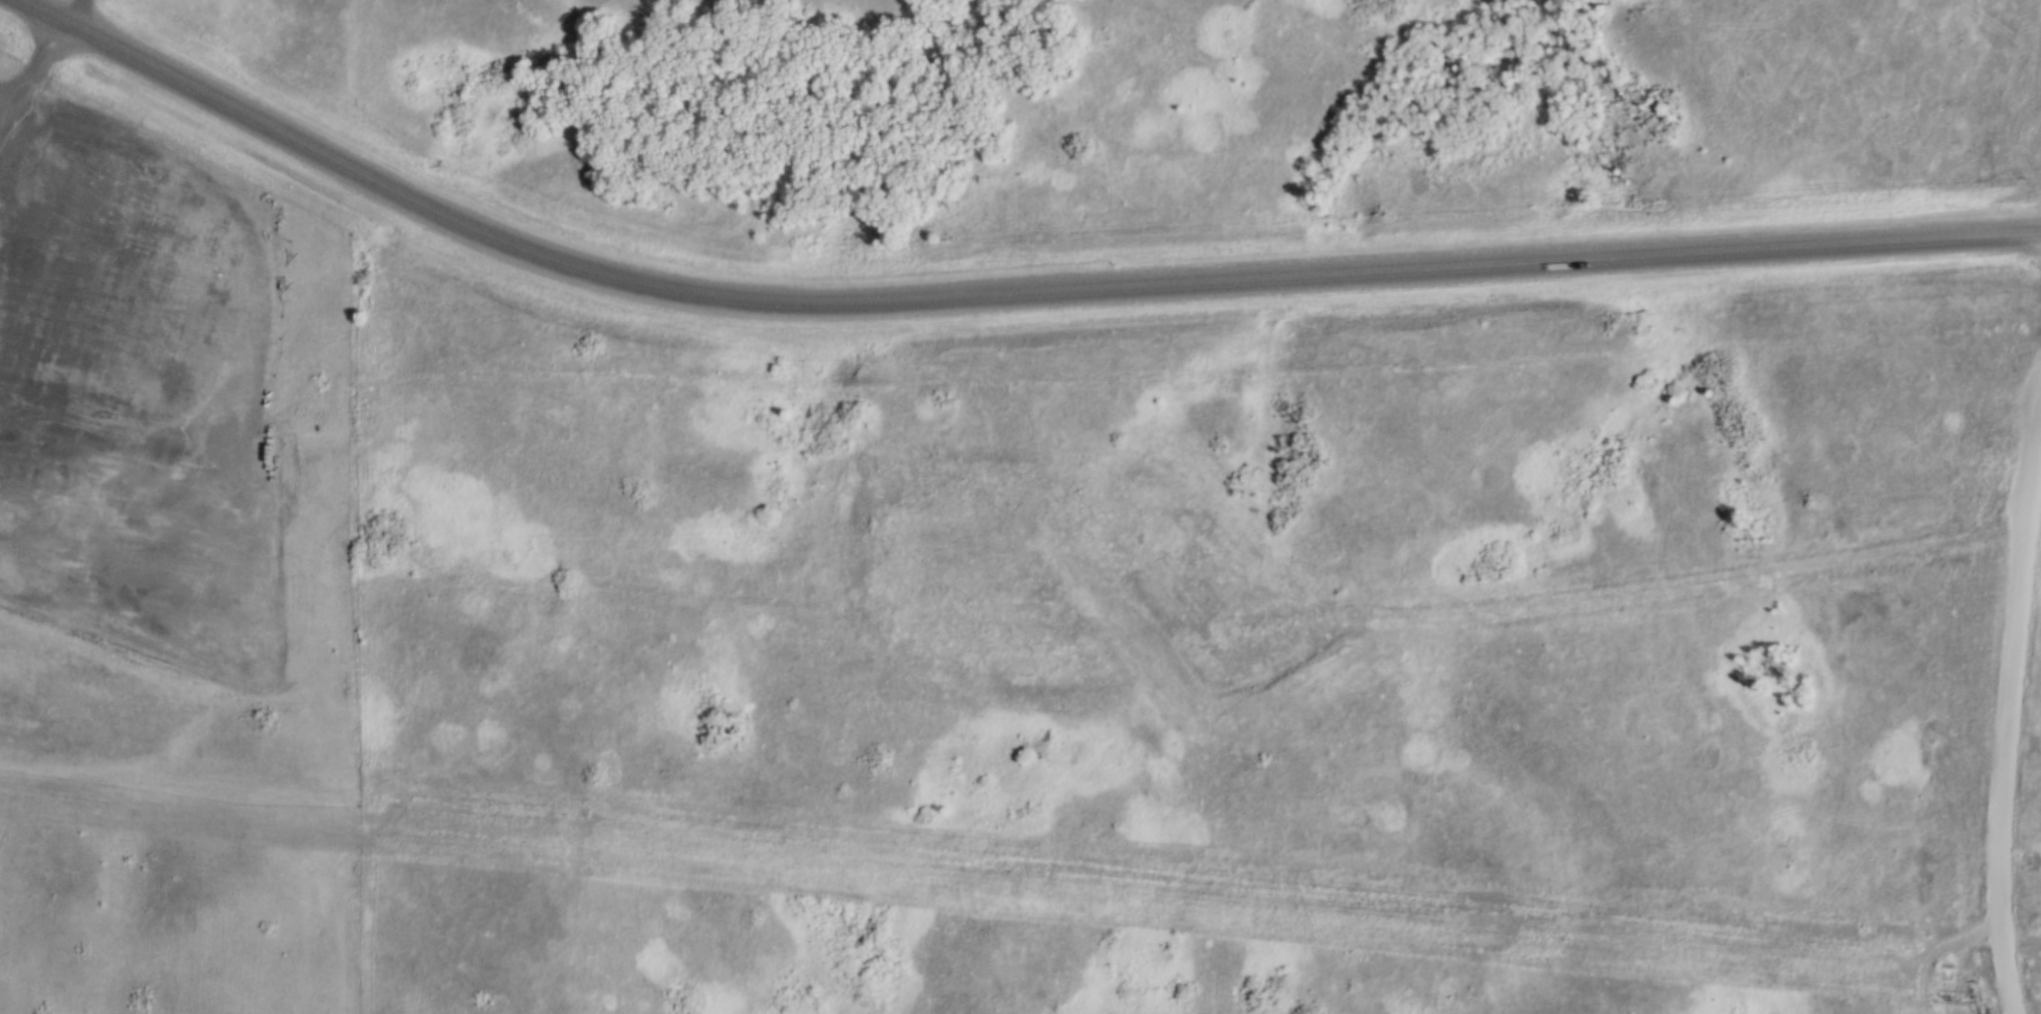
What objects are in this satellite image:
road: (82, 14)
road: (997, 294)
road: (2006, 720)

